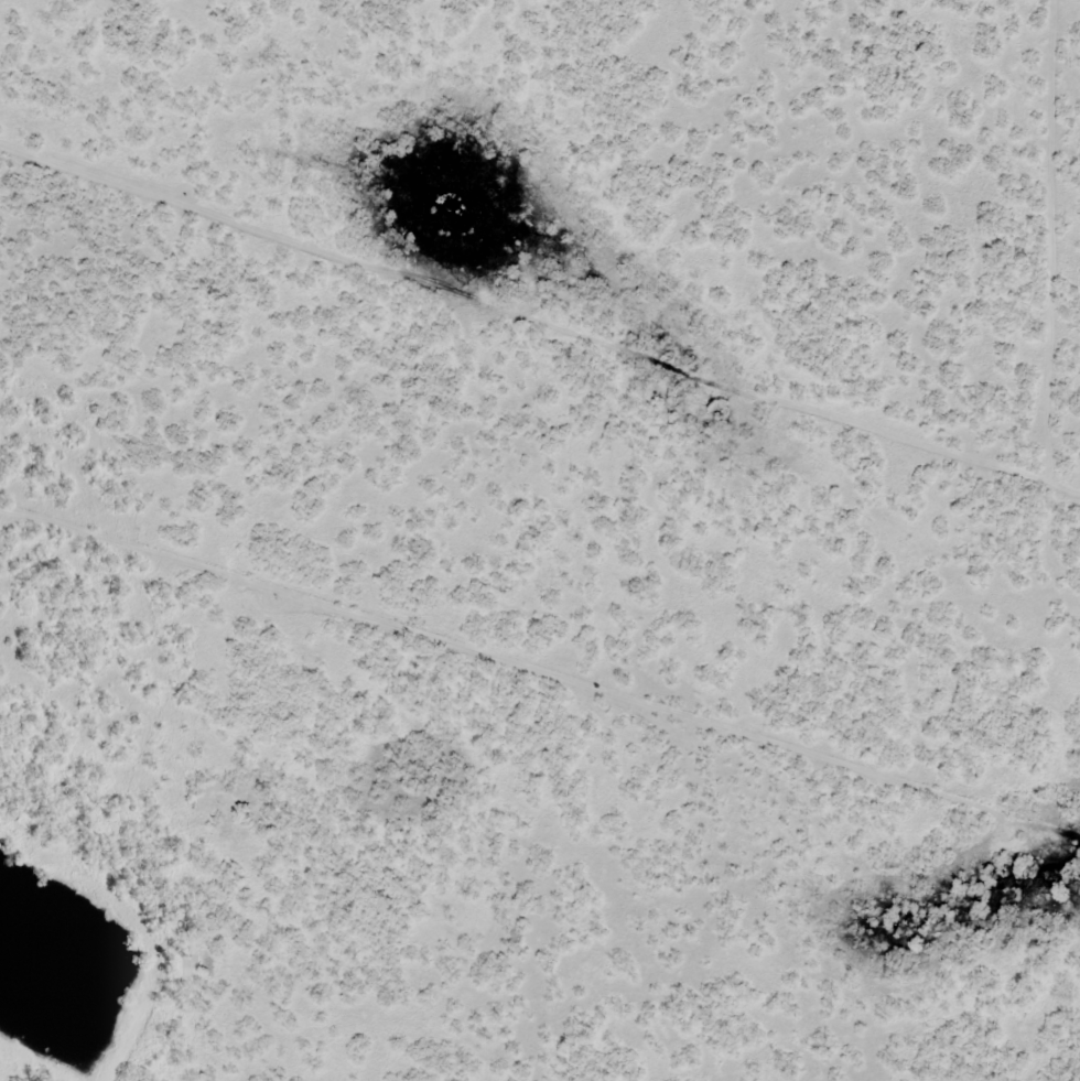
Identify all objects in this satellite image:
building: (190, 968)

